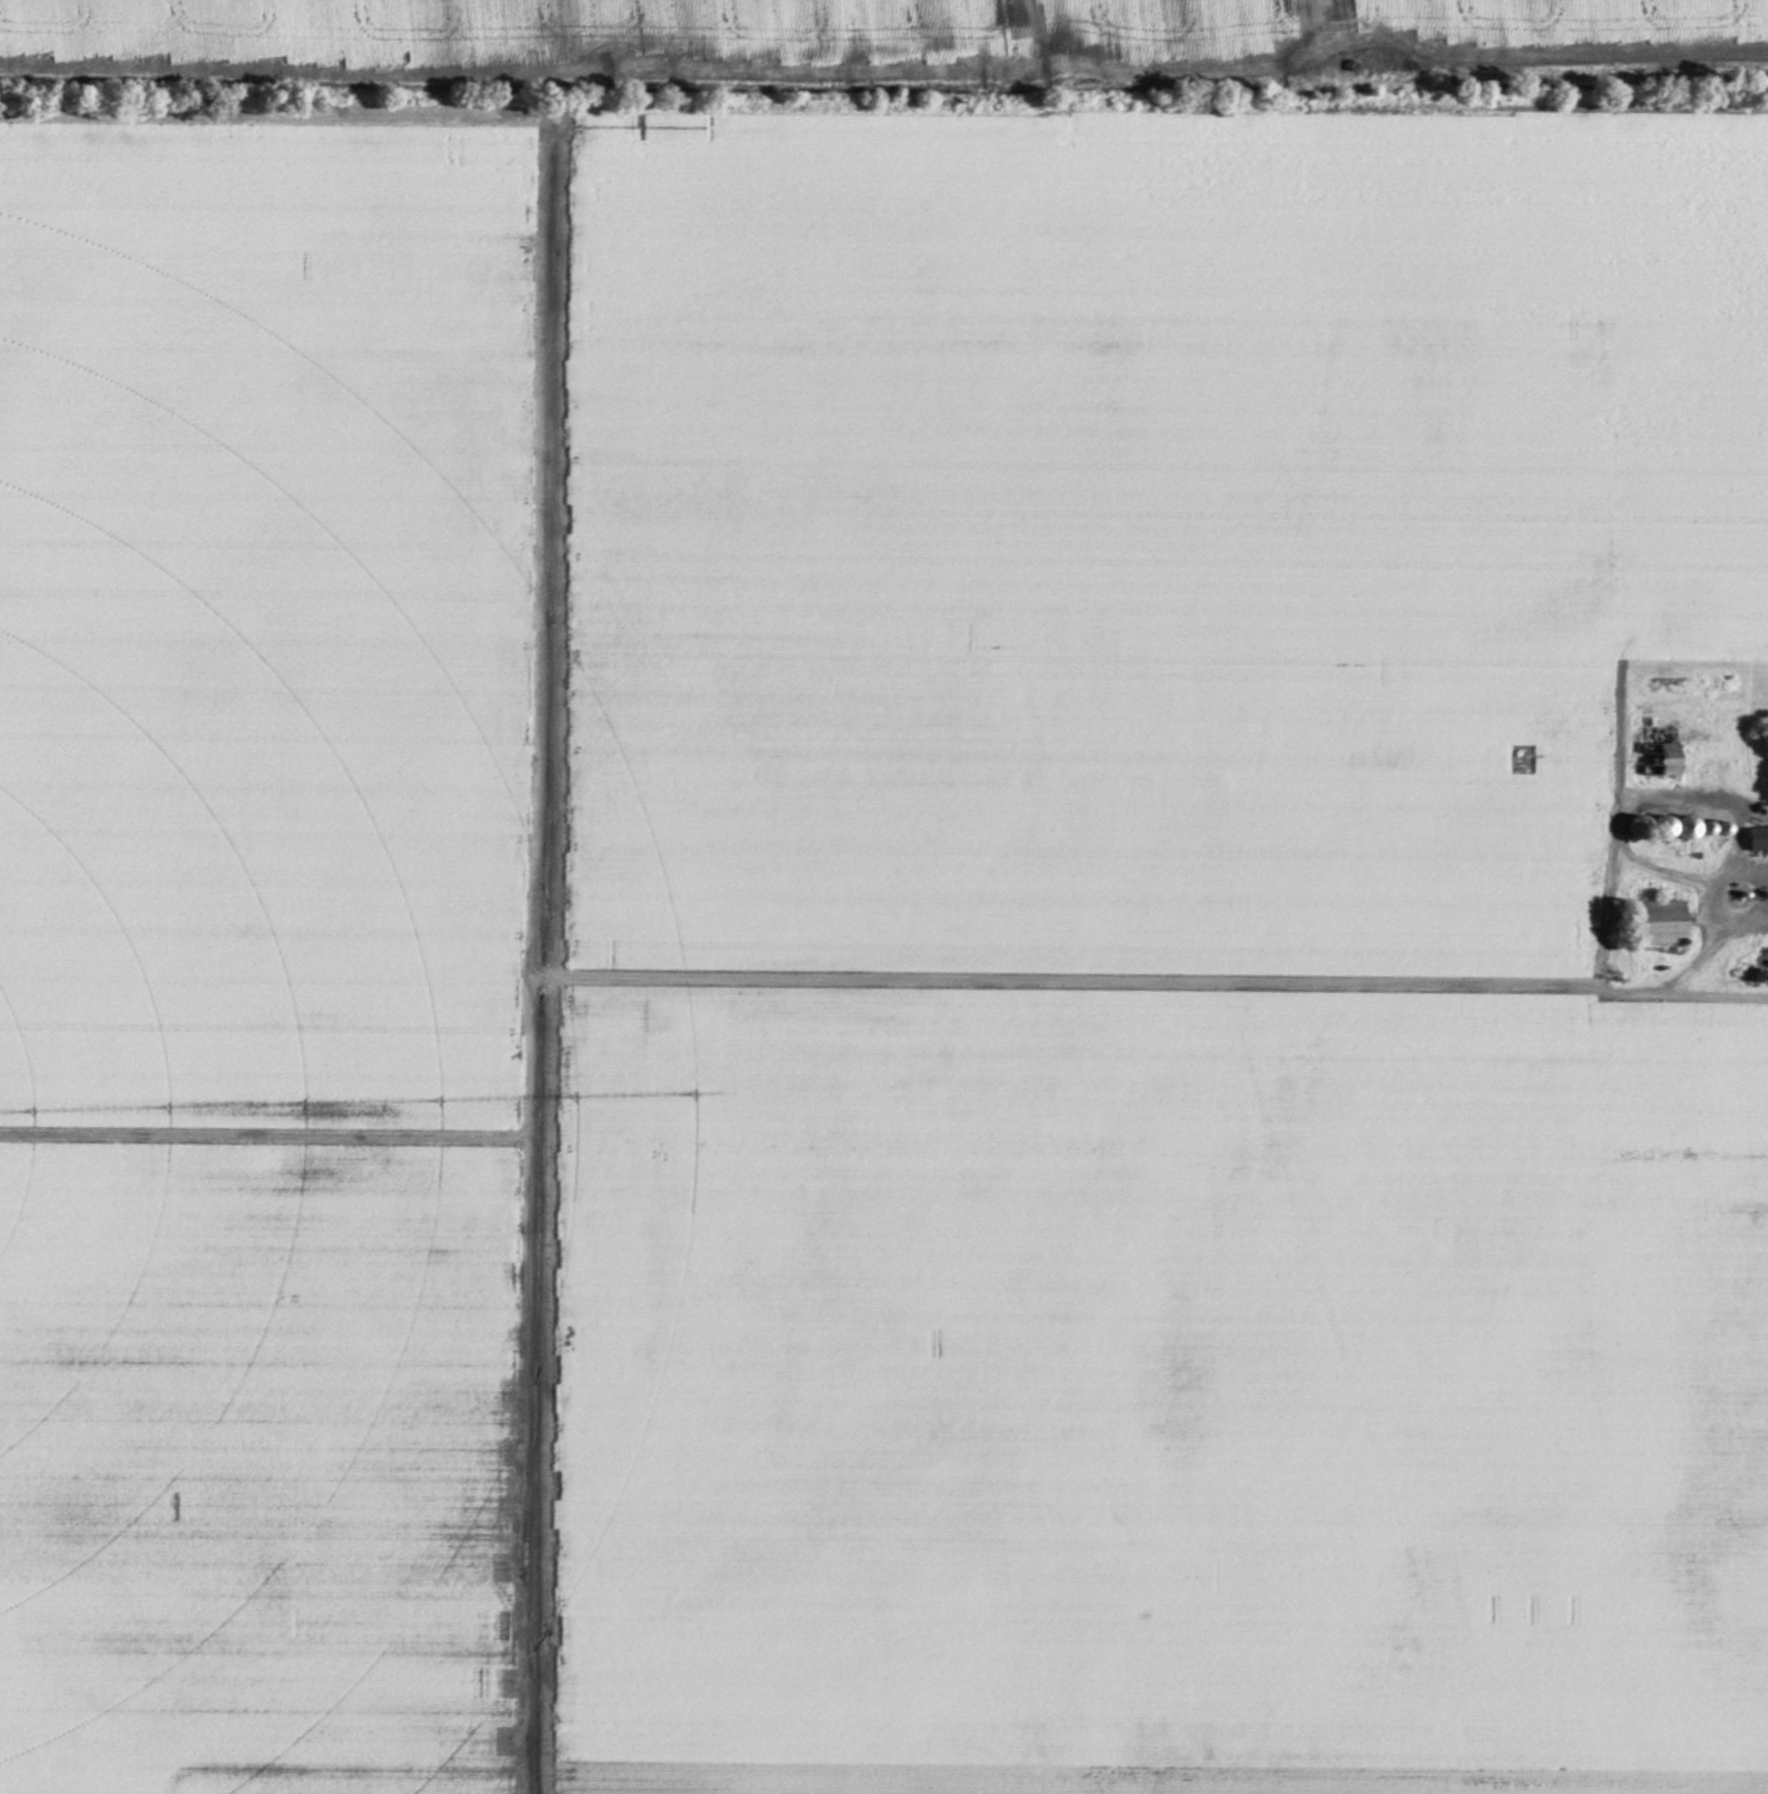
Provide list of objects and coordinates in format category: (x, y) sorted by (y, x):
road: (1444, 107)
building: (1757, 840)
building: (1656, 924)

